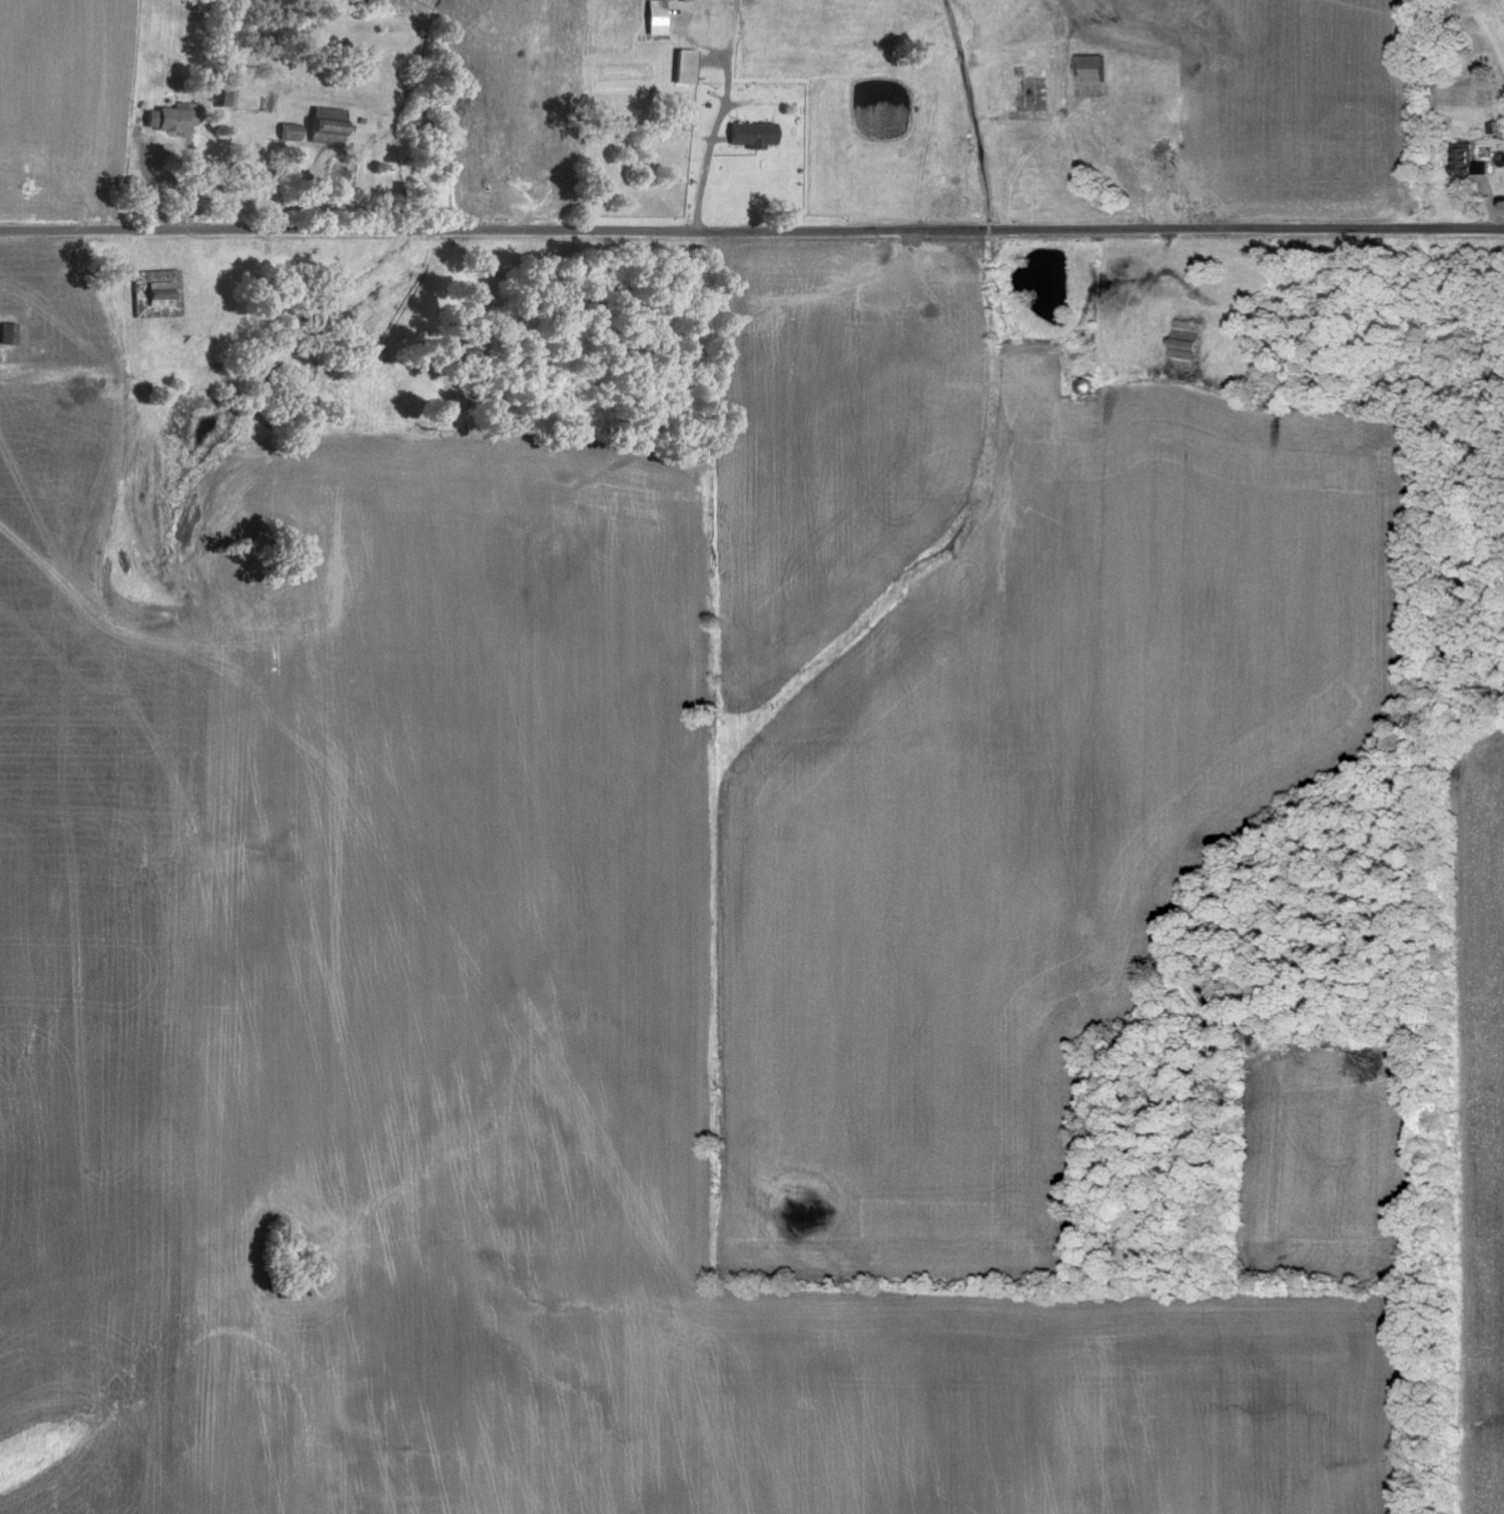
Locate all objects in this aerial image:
building: (656, 24)
building: (683, 68)
building: (1089, 76)
building: (169, 119)
building: (751, 136)
building: (1464, 159)
road: (1464, 223)
road: (712, 228)

